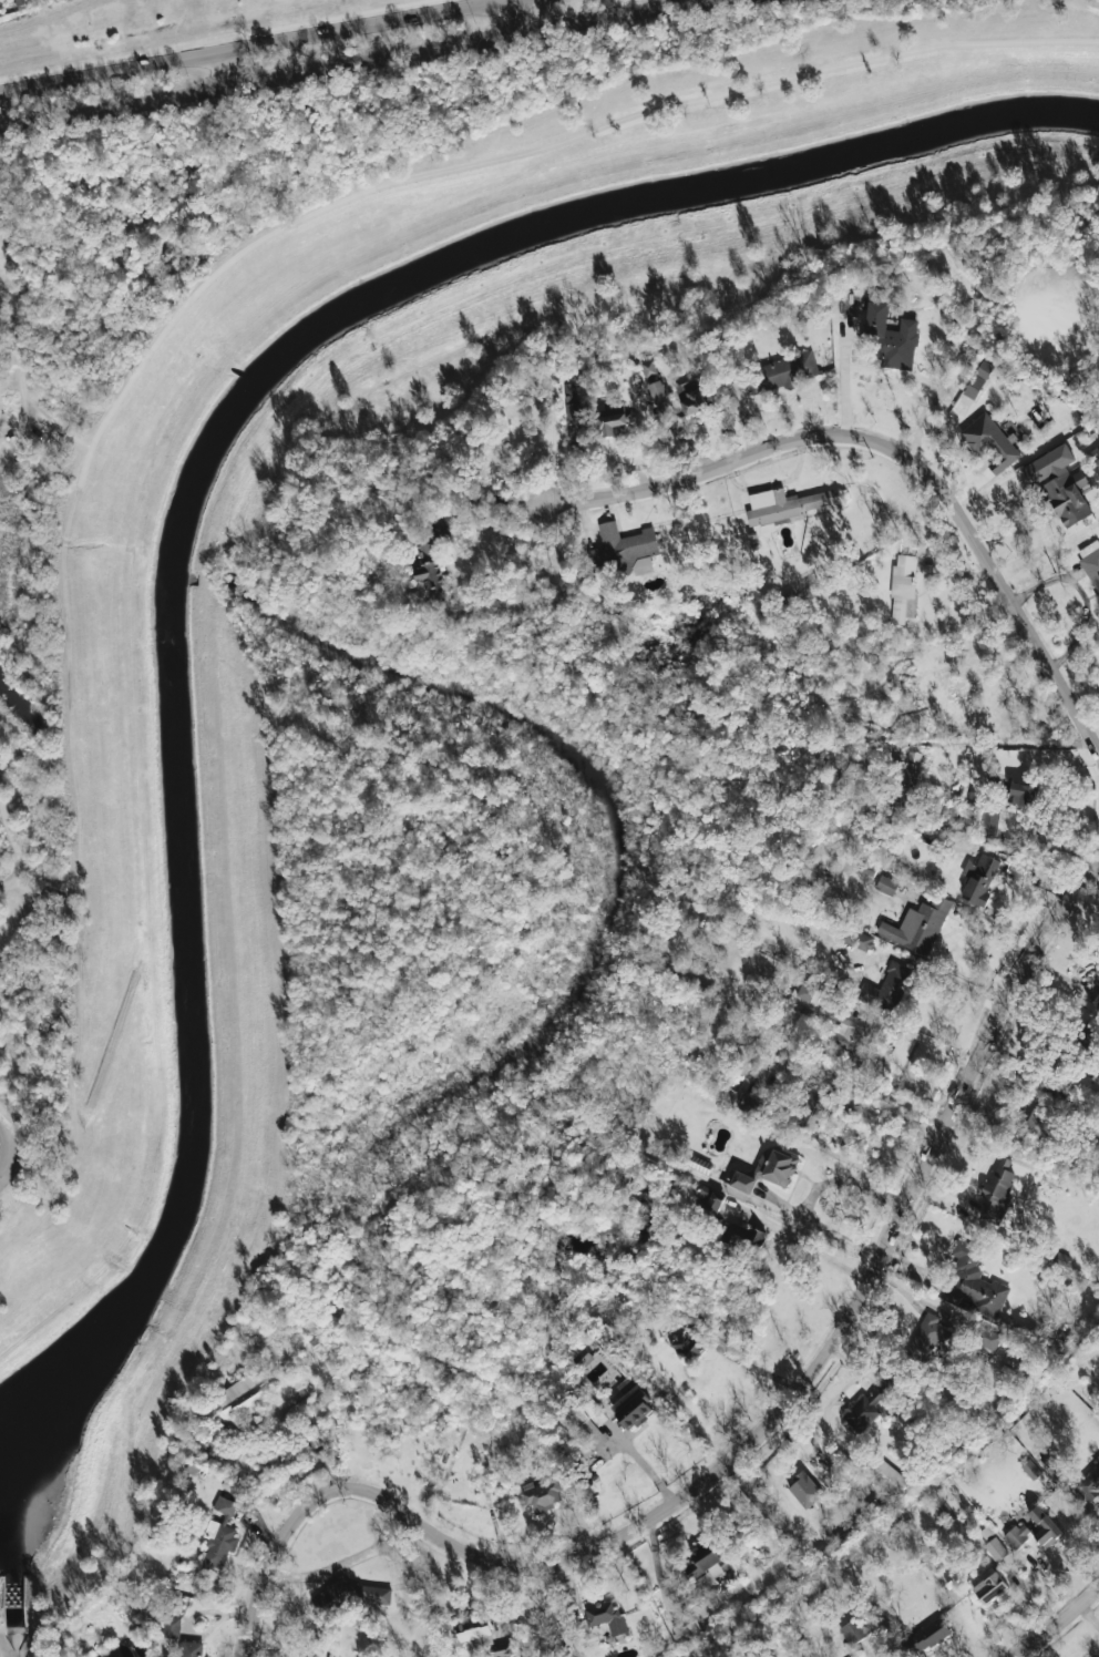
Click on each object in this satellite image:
road: (511, 17)
road: (254, 49)
road: (356, 61)
road: (228, 69)
road: (524, 153)
road: (1, 275)
road: (3, 285)
building: (891, 337)
road: (18, 347)
building: (648, 368)
building: (782, 374)
road: (843, 376)
building: (978, 379)
building: (656, 390)
building: (691, 396)
building: (572, 403)
building: (613, 418)
parking lot: (27, 431)
road: (0, 437)
road: (72, 438)
building: (990, 441)
road: (8, 450)
road: (896, 452)
building: (1060, 484)
river: (188, 490)
building: (784, 507)
building: (625, 549)
road: (1039, 550)
building: (1091, 563)
building: (429, 571)
building: (903, 587)
park: (33, 628)
road: (987, 743)
building: (910, 779)
building: (1025, 794)
building: (988, 821)
road: (14, 849)
building: (978, 879)
building: (886, 884)
building: (918, 925)
road: (0, 933)
building: (856, 939)
road: (977, 954)
road: (932, 969)
building: (889, 986)
building: (1093, 992)
building: (807, 993)
building: (853, 1031)
road: (929, 1039)
road: (902, 1101)
building: (751, 1105)
building: (815, 1111)
building: (1031, 1114)
road: (11, 1135)
road: (11, 1158)
building: (777, 1167)
road: (846, 1180)
building: (739, 1185)
building: (998, 1189)
building: (711, 1201)
road: (822, 1226)
building: (743, 1238)
road: (816, 1255)
building: (974, 1282)
building: (987, 1336)
building: (928, 1338)
building: (687, 1346)
building: (583, 1358)
road: (751, 1364)
building: (245, 1397)
building: (631, 1404)
building: (867, 1407)
building: (598, 1416)
building: (581, 1428)
road: (756, 1436)
building: (1031, 1469)
road: (646, 1472)
building: (884, 1476)
building: (1089, 1482)
building: (800, 1487)
building: (1044, 1527)
building: (1018, 1535)
building: (219, 1536)
building: (996, 1549)
road: (345, 1562)
building: (707, 1565)
building: (990, 1587)
building: (606, 1616)
road: (1059, 1625)
building: (172, 1627)
building: (688, 1630)
building: (853, 1632)
building: (928, 1635)
building: (188, 1649)
building: (500, 1649)

